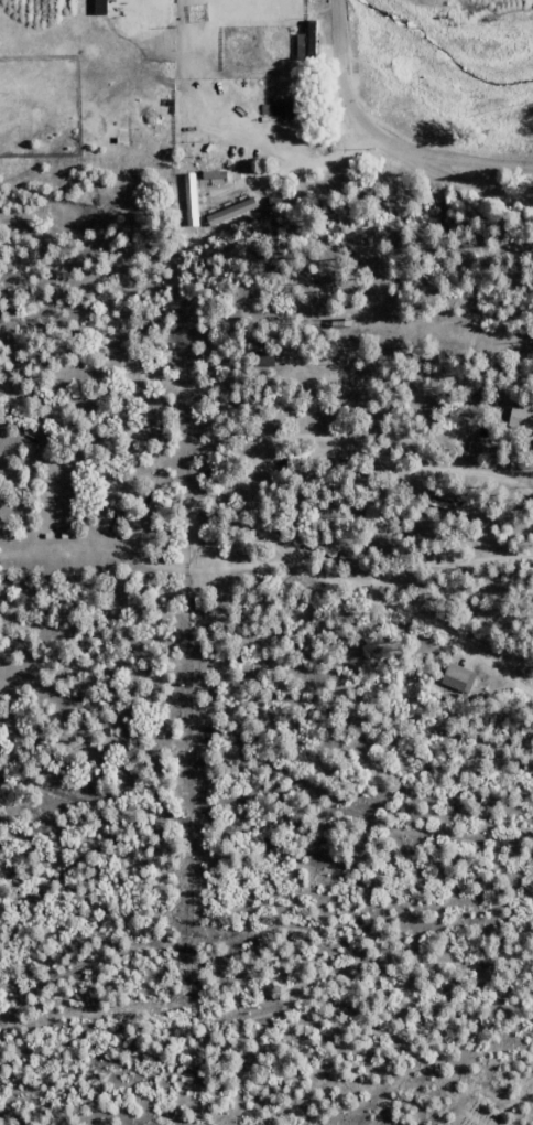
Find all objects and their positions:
park: (124, 7)
building: (104, 8)
building: (306, 42)
road: (385, 143)
road: (467, 160)
building: (192, 201)
building: (232, 212)
building: (264, 361)
building: (521, 417)
road: (278, 458)
building: (374, 517)
road: (416, 603)
building: (458, 676)
road: (255, 764)
road: (511, 838)
road: (531, 966)
road: (301, 983)
road: (472, 1090)

